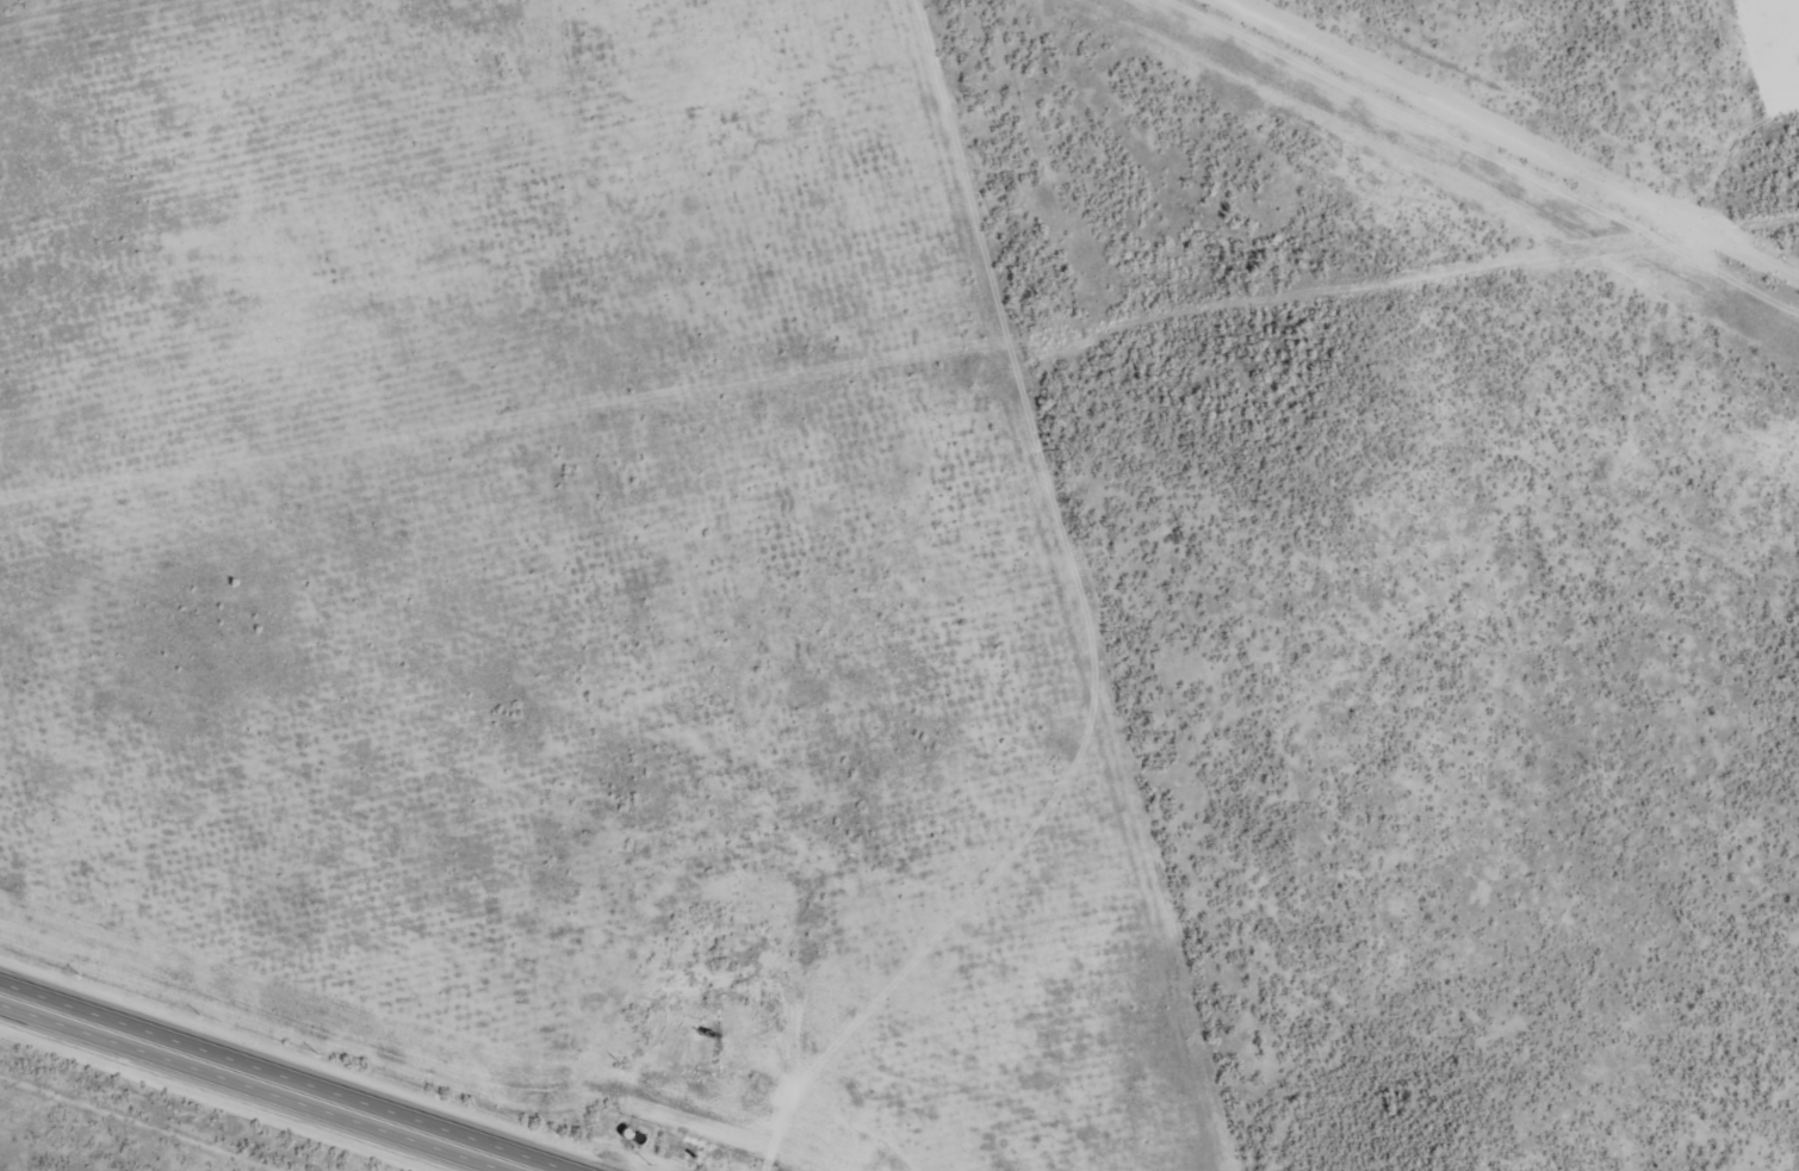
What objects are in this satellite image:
road: (274, 1083)

